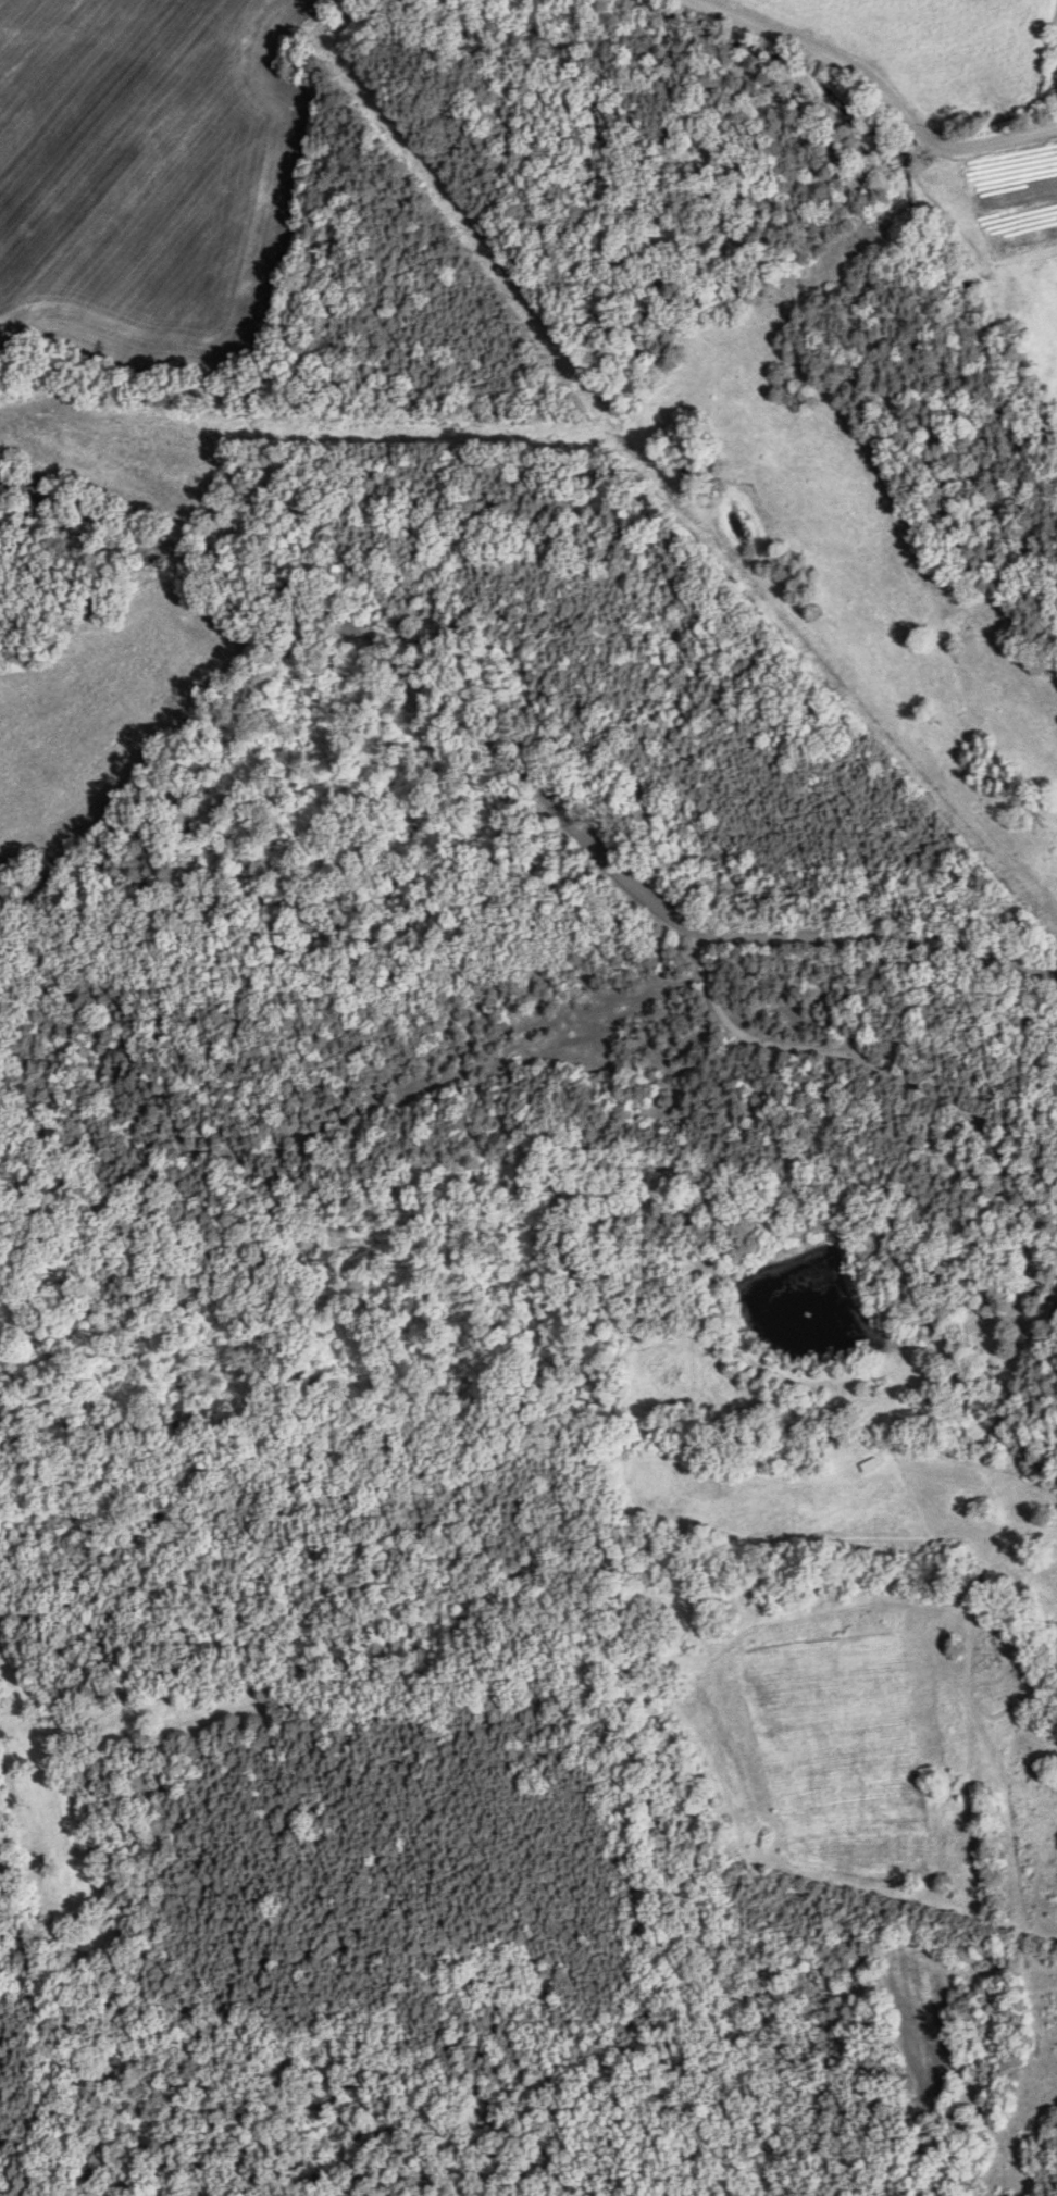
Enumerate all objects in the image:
road: (878, 86)
road: (524, 772)
road: (1000, 1169)

